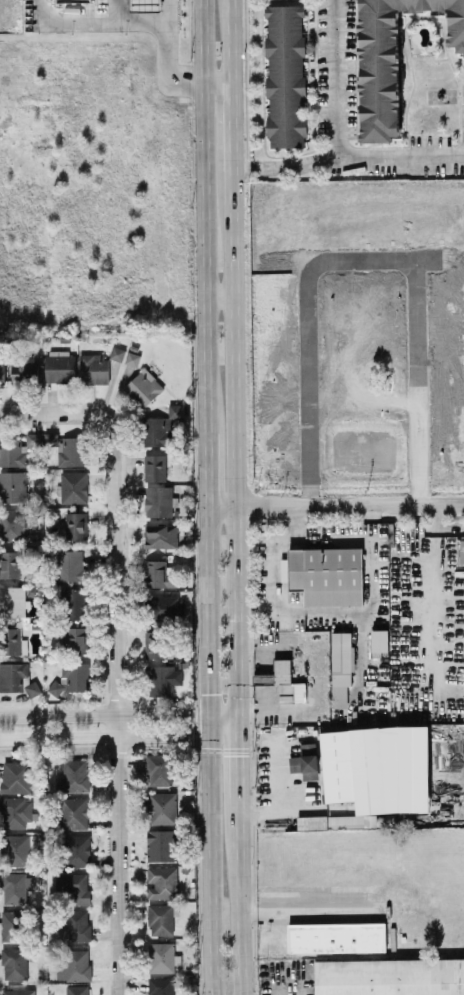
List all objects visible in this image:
building: (74, 0)
building: (145, 5)
road: (116, 11)
road: (164, 11)
road: (139, 22)
road: (233, 41)
building: (391, 60)
building: (285, 74)
road: (218, 81)
road: (234, 125)
road: (334, 141)
road: (285, 164)
road: (203, 216)
road: (219, 293)
building: (117, 352)
building: (132, 357)
building: (59, 365)
building: (2, 367)
building: (93, 367)
building: (23, 370)
building: (143, 387)
building: (160, 426)
building: (31, 438)
building: (50, 438)
road: (235, 440)
building: (71, 450)
building: (12, 451)
building: (154, 466)
road: (206, 469)
building: (12, 485)
building: (73, 486)
building: (158, 500)
road: (335, 505)
road: (118, 506)
building: (12, 523)
building: (160, 535)
road: (271, 546)
building: (70, 565)
building: (283, 568)
building: (157, 573)
building: (324, 574)
building: (12, 600)
building: (74, 602)
road: (207, 609)
building: (75, 639)
building: (13, 640)
building: (379, 640)
building: (155, 643)
building: (341, 666)
building: (12, 675)
building: (71, 676)
building: (162, 678)
building: (283, 681)
building: (32, 687)
road: (103, 712)
traffic signals: (207, 712)
road: (222, 712)
traffic signals: (238, 712)
road: (207, 724)
road: (103, 736)
traffic signals: (207, 736)
road: (222, 736)
traffic signals: (238, 736)
road: (238, 754)
building: (305, 760)
building: (361, 766)
building: (159, 768)
building: (73, 775)
building: (15, 776)
building: (162, 806)
road: (272, 807)
building: (15, 811)
building: (74, 812)
building: (311, 821)
building: (345, 822)
building: (160, 844)
building: (17, 848)
building: (77, 849)
road: (118, 853)
road: (209, 865)
building: (162, 881)
building: (74, 885)
building: (16, 886)
road: (239, 895)
road: (307, 903)
building: (160, 918)
building: (12, 924)
building: (77, 924)
building: (336, 936)
building: (14, 962)
building: (74, 965)
building: (389, 976)
building: (161, 985)
building: (77, 989)
building: (18, 991)

